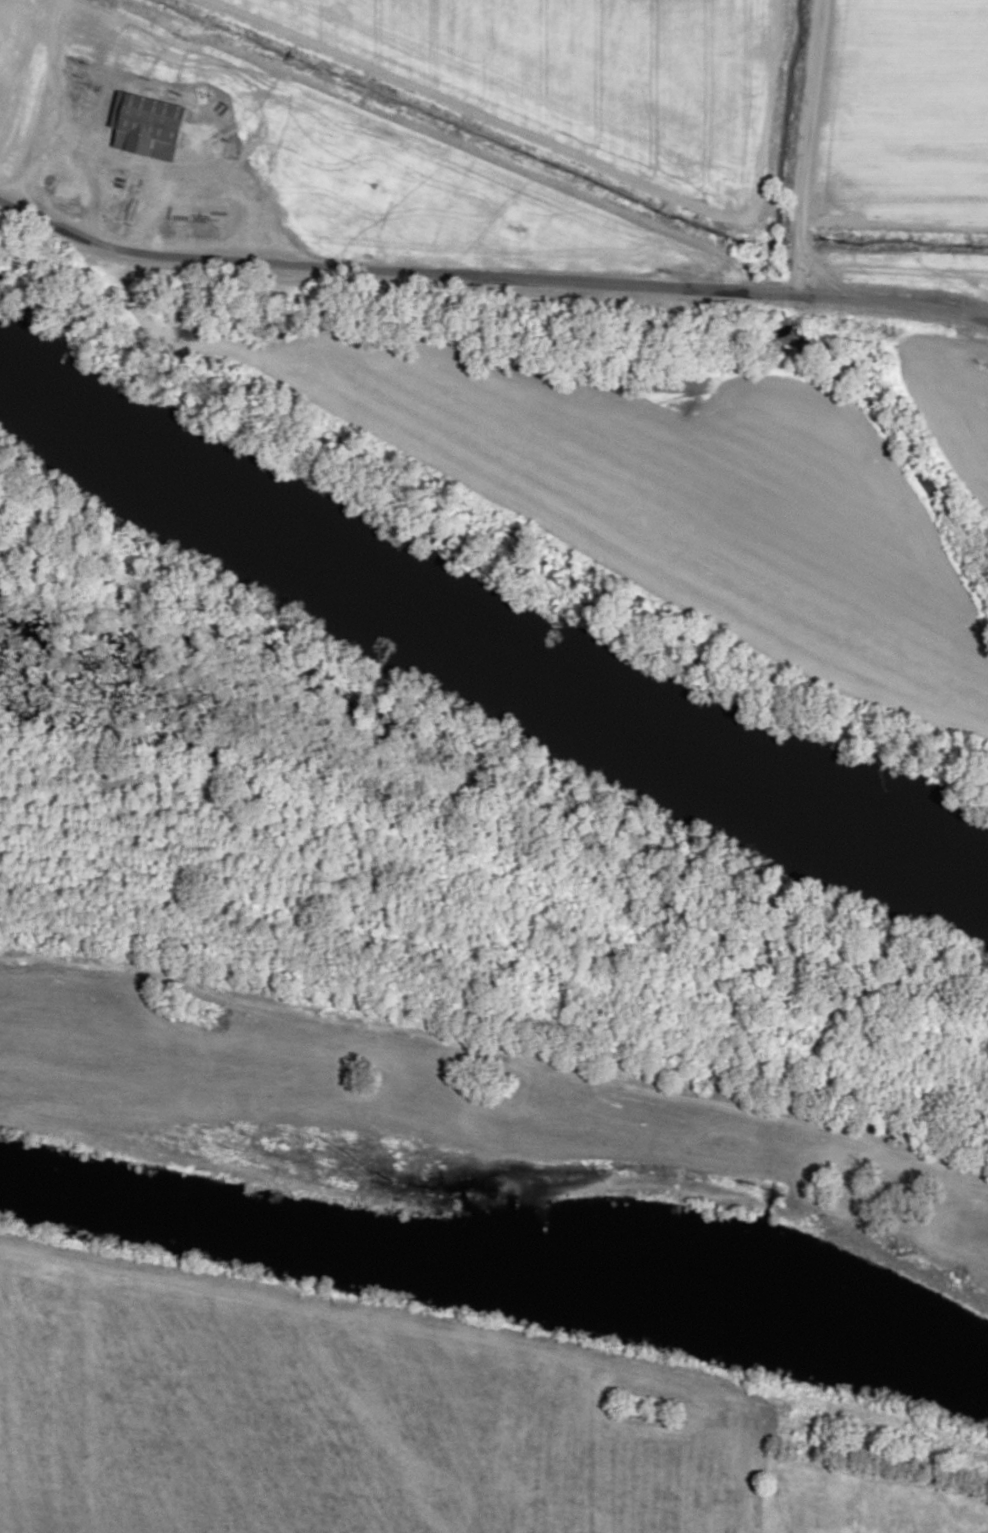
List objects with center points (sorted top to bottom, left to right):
building: (147, 126)
road: (806, 148)
road: (154, 163)
building: (59, 189)
building: (191, 216)
road: (490, 279)
river: (476, 638)
road: (496, 1049)
crop: (399, 1115)
road: (502, 1195)
road: (496, 1334)
crop: (326, 1423)
road: (754, 1462)
park: (864, 1500)

